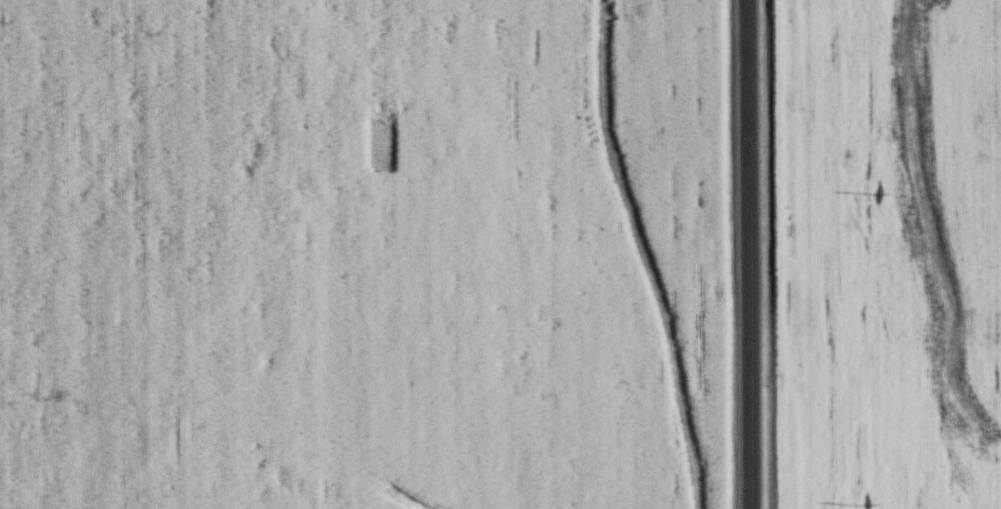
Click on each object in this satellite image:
road: (747, 254)

